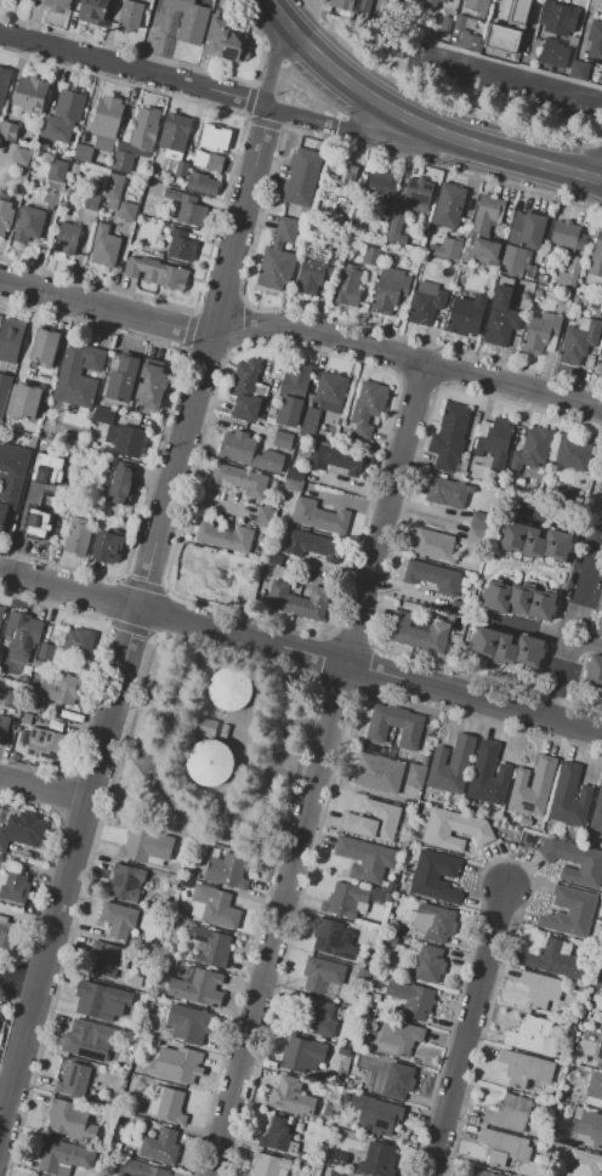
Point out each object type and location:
building: (342, 4)
building: (432, 4)
building: (57, 5)
building: (478, 6)
building: (148, 8)
building: (95, 11)
building: (521, 11)
building: (130, 15)
building: (557, 18)
building: (189, 19)
building: (444, 28)
building: (459, 30)
road: (261, 38)
building: (502, 38)
building: (595, 39)
building: (574, 40)
building: (226, 41)
building: (471, 41)
road: (126, 47)
road: (273, 51)
building: (530, 55)
building: (555, 55)
road: (271, 64)
road: (131, 67)
building: (580, 69)
road: (340, 79)
road: (513, 79)
building: (4, 85)
building: (30, 93)
road: (249, 98)
road: (284, 113)
road: (333, 113)
building: (63, 117)
road: (263, 120)
building: (106, 121)
road: (339, 127)
road: (346, 129)
building: (8, 130)
building: (142, 132)
building: (175, 135)
building: (215, 138)
building: (42, 146)
building: (84, 153)
building: (21, 155)
road: (517, 158)
building: (209, 160)
building: (123, 161)
building: (75, 169)
building: (181, 170)
building: (57, 171)
building: (301, 176)
building: (201, 183)
road: (225, 186)
building: (339, 186)
building: (114, 187)
building: (381, 189)
building: (415, 194)
building: (92, 203)
building: (148, 205)
building: (448, 206)
building: (188, 208)
building: (126, 211)
building: (492, 211)
building: (5, 215)
building: (335, 217)
building: (29, 221)
building: (397, 229)
building: (527, 229)
road: (256, 234)
building: (67, 237)
building: (567, 237)
building: (181, 245)
building: (445, 245)
building: (103, 246)
building: (487, 252)
building: (158, 255)
building: (279, 256)
building: (371, 256)
building: (516, 261)
building: (596, 262)
building: (157, 272)
building: (313, 272)
building: (572, 273)
building: (543, 278)
building: (512, 282)
building: (348, 285)
building: (581, 289)
building: (388, 290)
building: (539, 291)
building: (575, 299)
building: (425, 303)
building: (596, 305)
road: (217, 306)
building: (466, 316)
building: (501, 317)
road: (243, 325)
road: (301, 328)
road: (188, 329)
building: (540, 334)
building: (11, 340)
building: (579, 340)
building: (46, 346)
road: (204, 351)
road: (404, 356)
building: (600, 364)
road: (443, 367)
building: (79, 374)
building: (123, 379)
road: (418, 380)
building: (150, 385)
building: (248, 391)
building: (4, 392)
building: (293, 392)
building: (329, 392)
building: (24, 400)
building: (101, 403)
building: (367, 409)
building: (83, 410)
building: (309, 422)
road: (161, 432)
building: (120, 434)
building: (449, 437)
building: (283, 439)
building: (494, 441)
building: (532, 449)
building: (248, 451)
building: (573, 453)
building: (336, 459)
building: (47, 468)
building: (296, 473)
building: (11, 476)
building: (238, 479)
road: (595, 484)
building: (293, 485)
building: (123, 487)
building: (447, 492)
building: (564, 492)
building: (78, 499)
building: (45, 504)
building: (265, 516)
building: (320, 517)
building: (479, 521)
building: (476, 535)
building: (78, 536)
building: (225, 536)
building: (535, 542)
building: (432, 544)
building: (312, 545)
building: (107, 547)
road: (392, 549)
building: (274, 558)
building: (432, 576)
building: (222, 579)
road: (142, 584)
road: (174, 593)
road: (110, 597)
building: (519, 597)
building: (297, 601)
road: (51, 604)
building: (460, 606)
road: (159, 613)
building: (1, 614)
road: (134, 614)
road: (127, 626)
building: (598, 626)
building: (47, 631)
building: (427, 634)
road: (570, 634)
building: (21, 635)
building: (80, 640)
road: (350, 641)
road: (212, 647)
building: (507, 647)
building: (46, 652)
road: (300, 653)
road: (323, 657)
road: (365, 669)
building: (594, 670)
road: (174, 676)
building: (24, 678)
road: (339, 686)
building: (228, 688)
building: (61, 689)
water tower: (240, 695)
building: (13, 699)
building: (34, 705)
building: (52, 711)
building: (27, 717)
building: (40, 720)
building: (210, 726)
building: (394, 726)
building: (74, 728)
building: (4, 729)
building: (46, 743)
building: (374, 746)
building: (382, 750)
building: (393, 752)
building: (424, 760)
building: (209, 762)
building: (451, 765)
road: (320, 767)
water tower: (220, 768)
building: (379, 773)
building: (416, 774)
building: (489, 774)
road: (41, 786)
building: (533, 786)
building: (569, 796)
road: (323, 811)
building: (597, 814)
building: (374, 820)
building: (454, 829)
building: (23, 833)
building: (144, 846)
building: (0, 857)
building: (367, 858)
road: (506, 858)
building: (574, 862)
building: (227, 870)
building: (436, 875)
building: (126, 881)
building: (391, 886)
building: (15, 887)
building: (376, 896)
building: (387, 897)
building: (345, 901)
building: (216, 905)
building: (569, 911)
building: (118, 919)
building: (435, 922)
building: (8, 933)
building: (334, 939)
building: (388, 941)
building: (212, 947)
building: (106, 959)
building: (368, 960)
building: (556, 960)
building: (428, 964)
building: (322, 973)
building: (598, 979)
building: (136, 982)
road: (17, 985)
building: (198, 988)
building: (540, 989)
building: (141, 998)
building: (411, 998)
building: (96, 1001)
building: (0, 1016)
building: (318, 1018)
building: (191, 1023)
road: (464, 1030)
building: (401, 1035)
building: (533, 1036)
building: (89, 1039)
building: (343, 1051)
building: (600, 1051)
building: (353, 1052)
building: (302, 1055)
building: (182, 1063)
building: (570, 1067)
building: (526, 1068)
building: (352, 1073)
building: (73, 1080)
building: (398, 1081)
building: (595, 1085)
building: (288, 1096)
building: (137, 1106)
building: (601, 1106)
building: (171, 1107)
building: (510, 1113)
building: (376, 1115)
building: (70, 1120)
building: (590, 1129)
building: (279, 1135)
building: (549, 1143)
building: (160, 1146)
building: (539, 1146)
building: (115, 1147)
building: (504, 1147)
building: (62, 1157)
building: (536, 1159)
building: (376, 1160)
building: (583, 1164)
building: (268, 1165)
building: (143, 1169)
building: (482, 1172)
building: (336, 1174)

